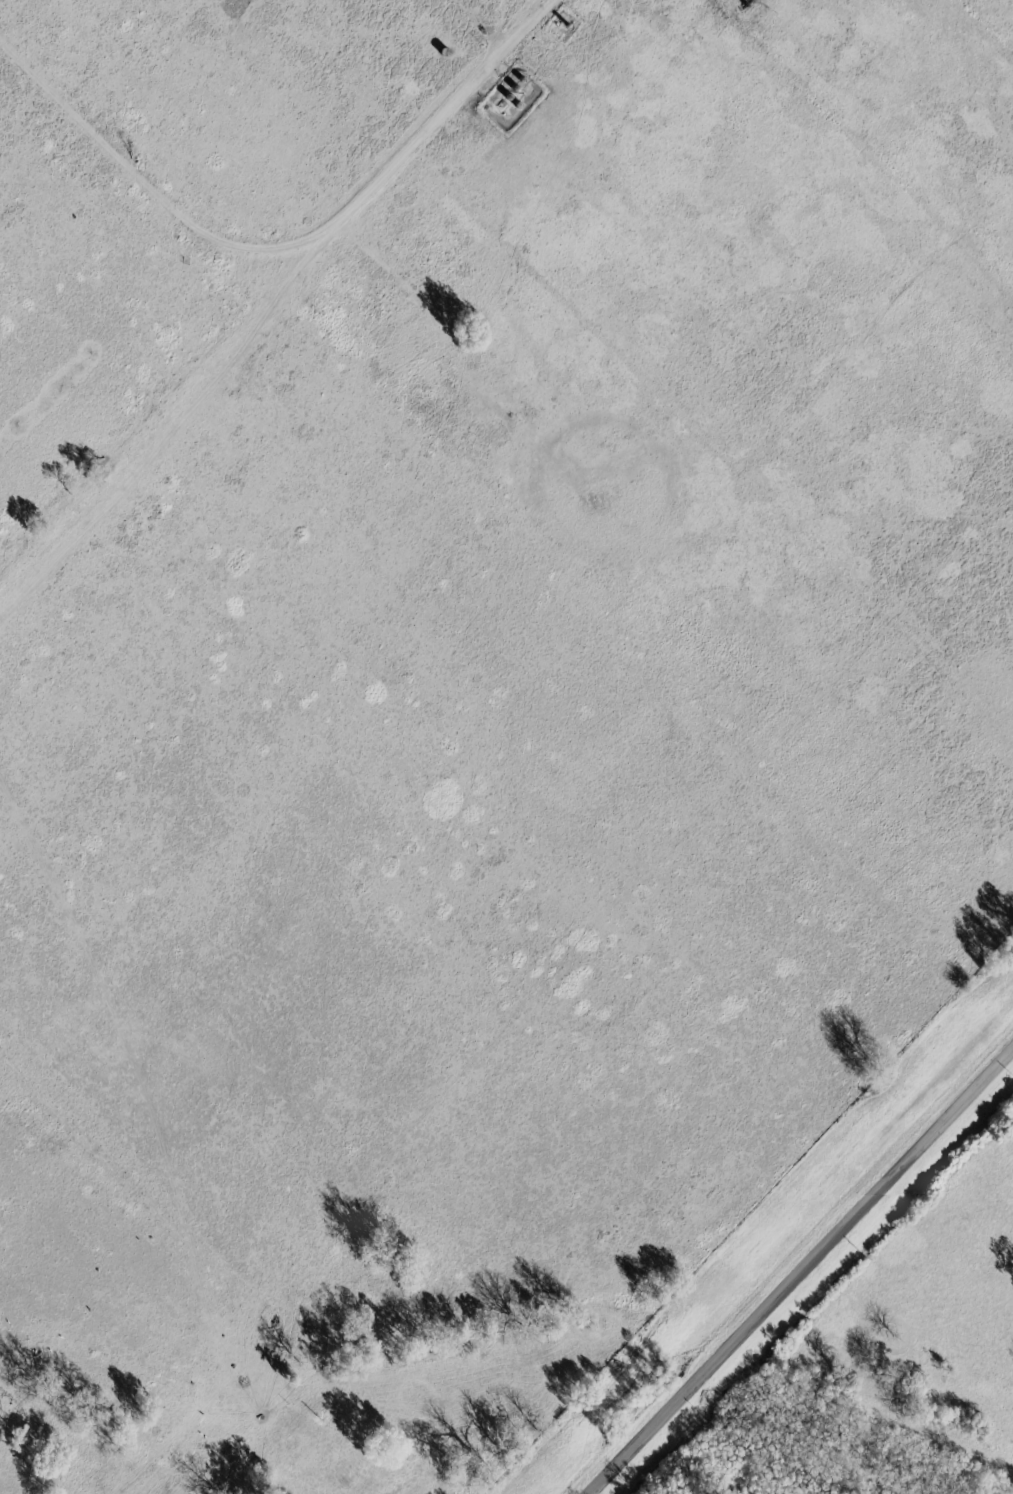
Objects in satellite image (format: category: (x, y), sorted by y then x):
road: (437, 116)
road: (173, 425)
road: (801, 1274)

